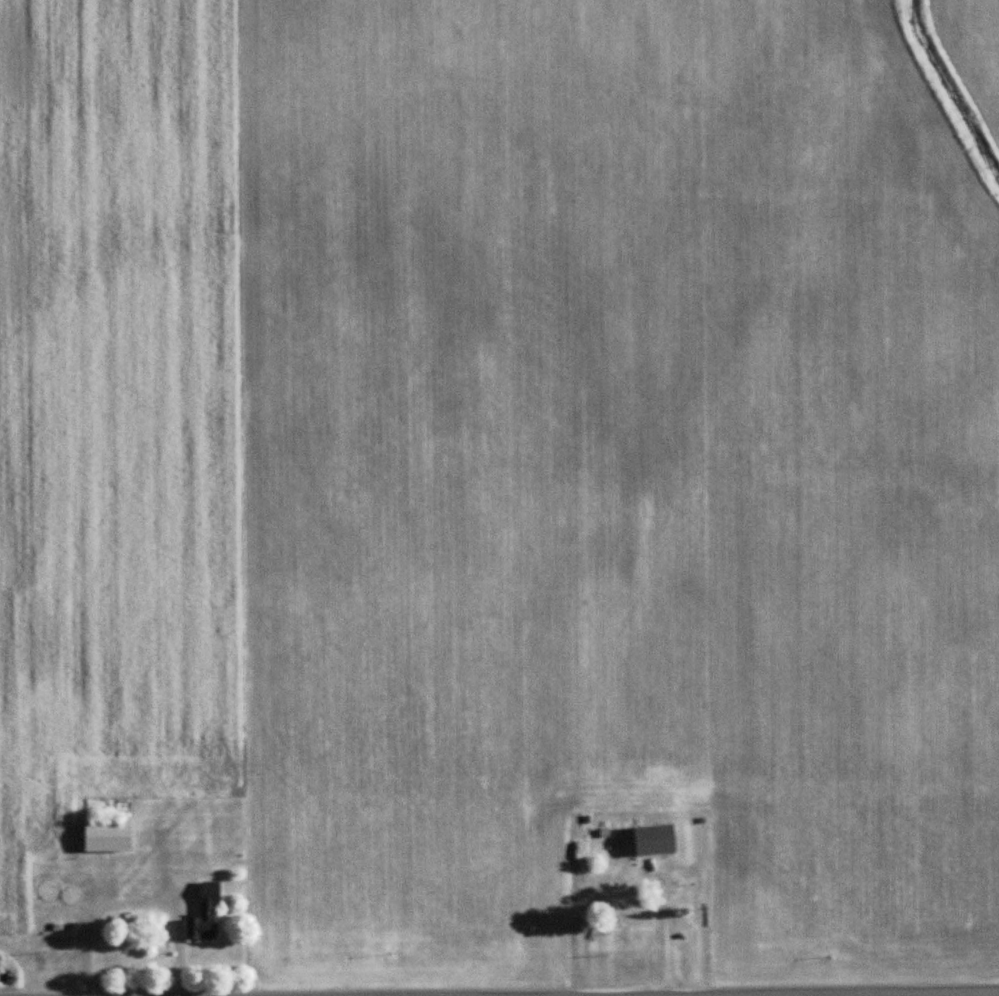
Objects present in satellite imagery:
building: (107, 838)
building: (655, 840)
building: (49, 891)
building: (70, 896)
building: (205, 915)
building: (626, 921)
road: (903, 995)

